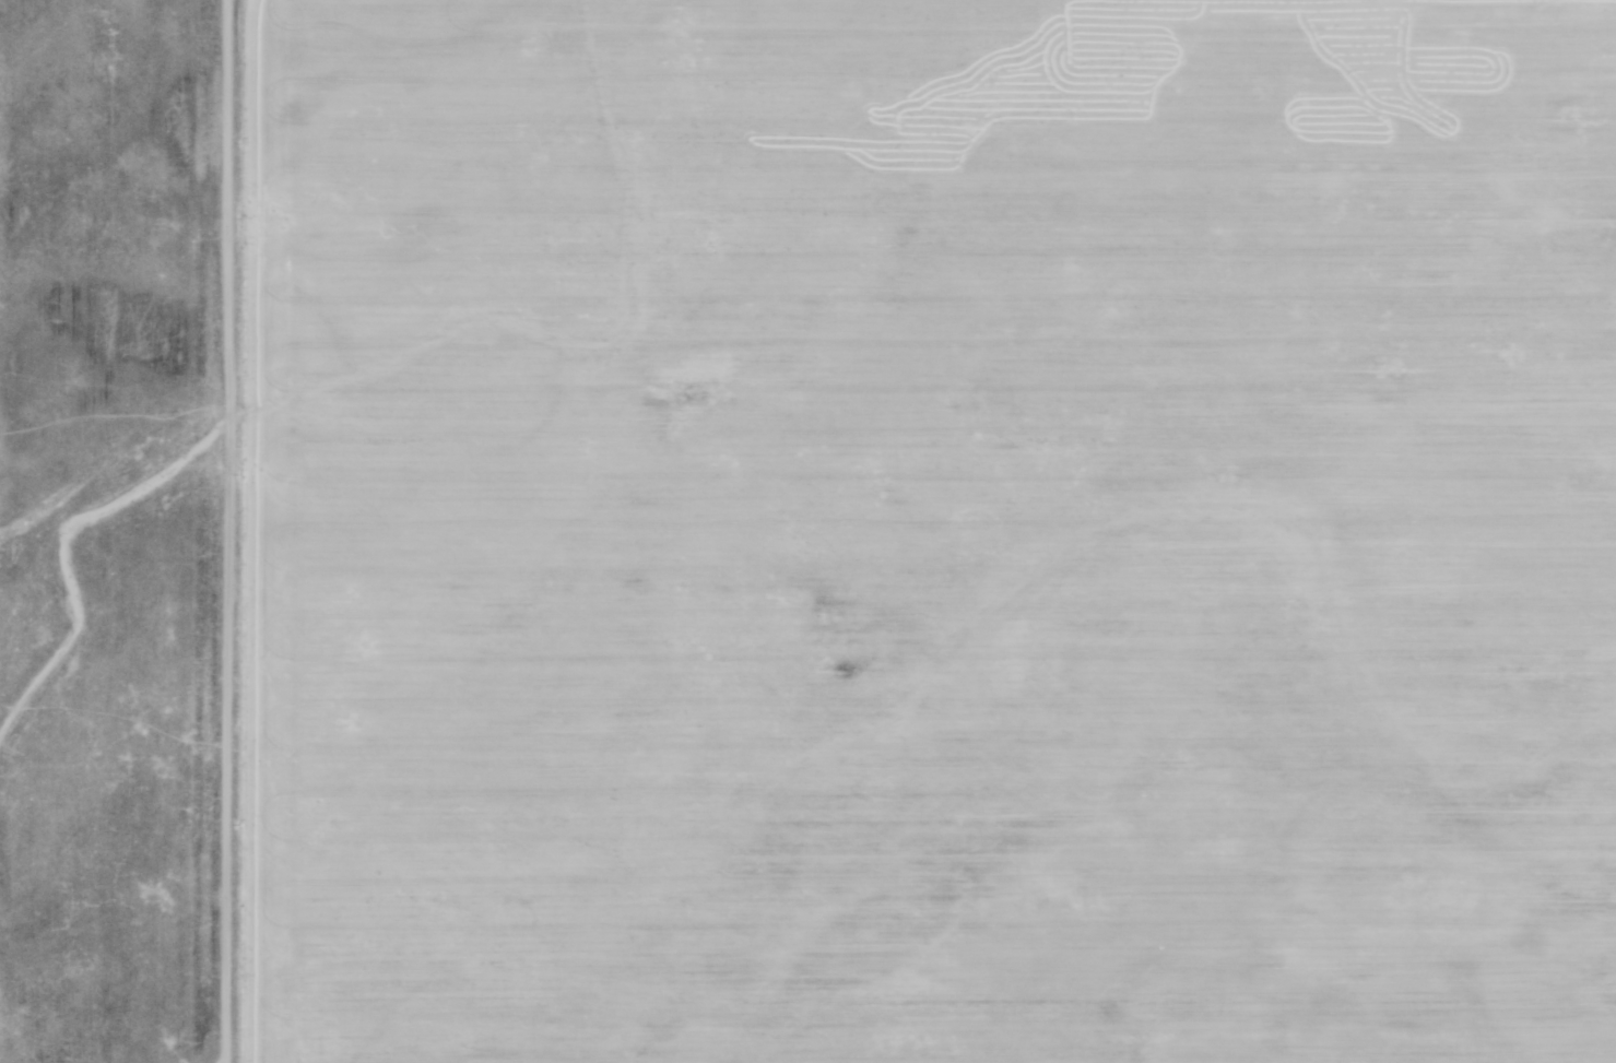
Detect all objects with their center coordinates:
road: (228, 531)

